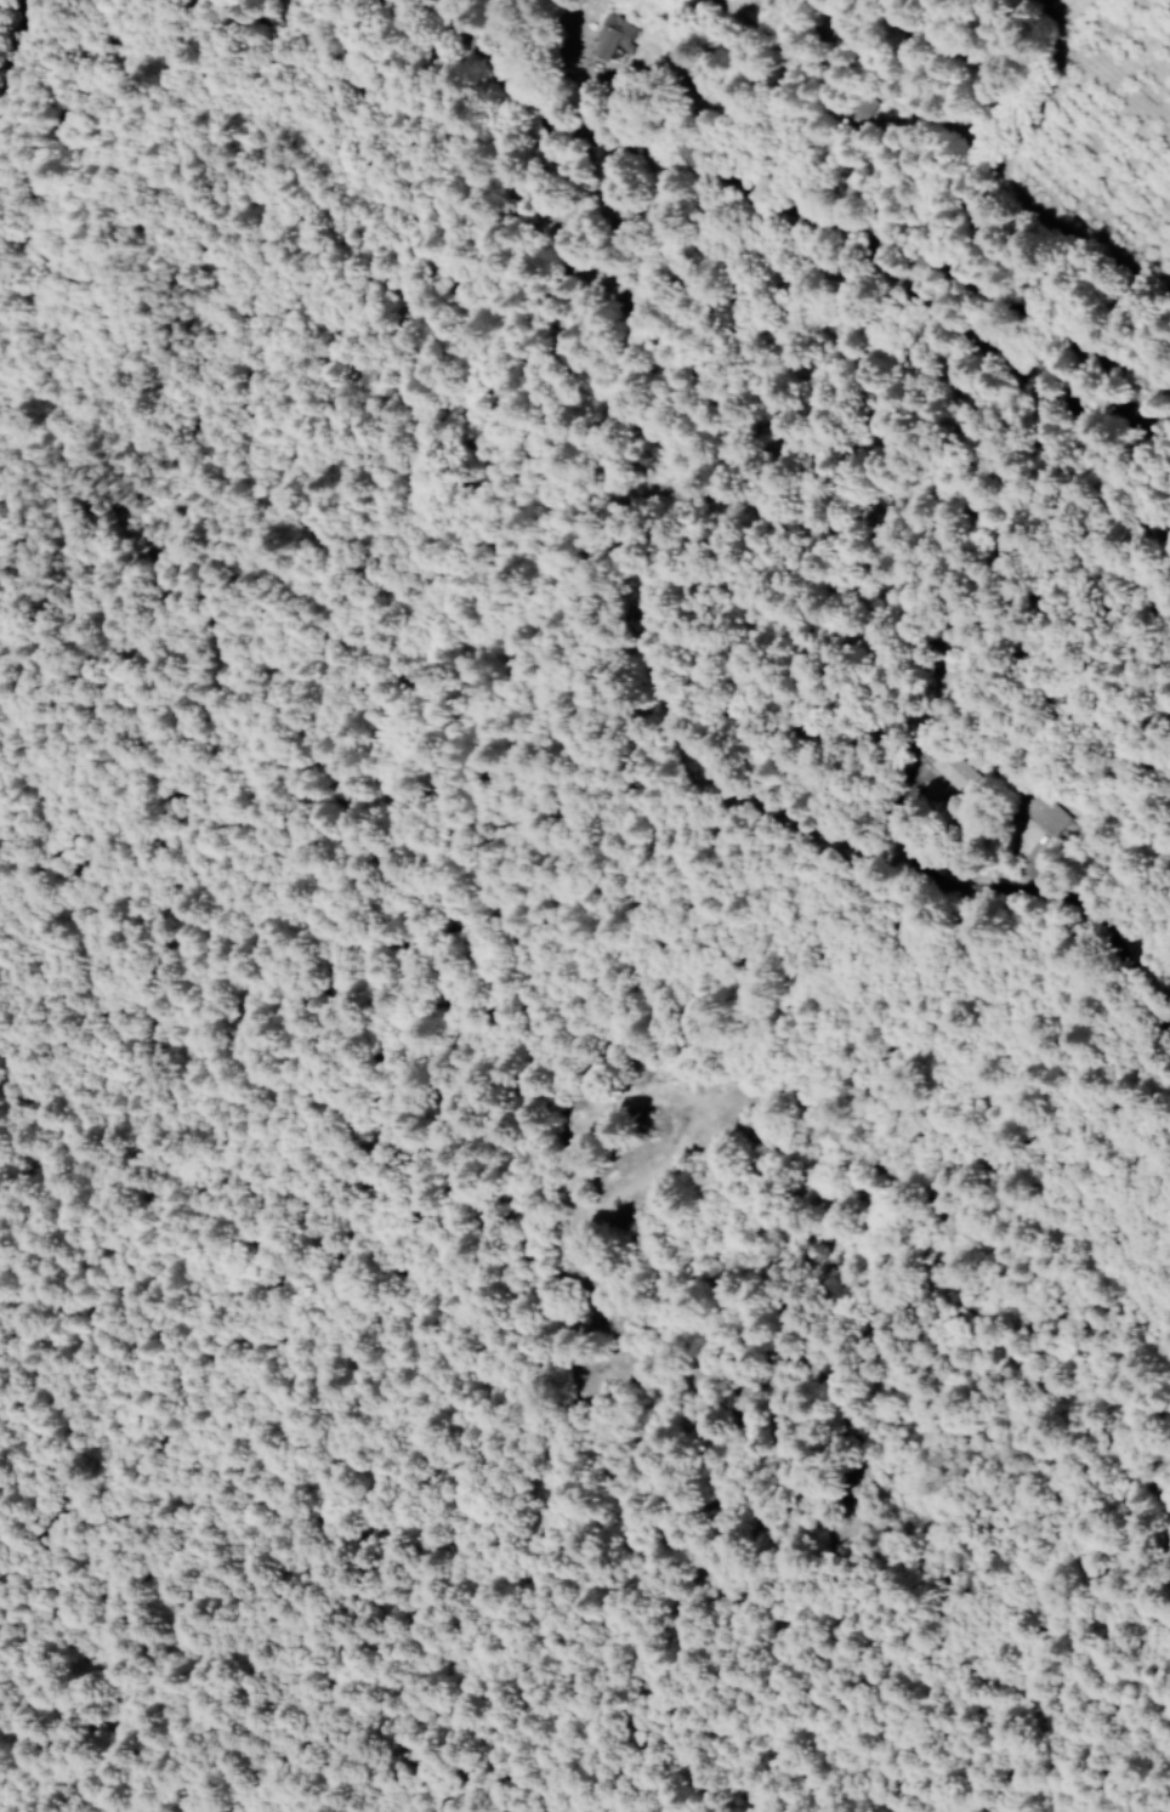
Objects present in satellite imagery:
road: (738, 15)
building: (615, 36)
road: (13, 47)
road: (712, 169)
road: (1032, 367)
road: (1135, 390)
road: (1021, 393)
building: (949, 771)
road: (1077, 941)
road: (1089, 1711)

